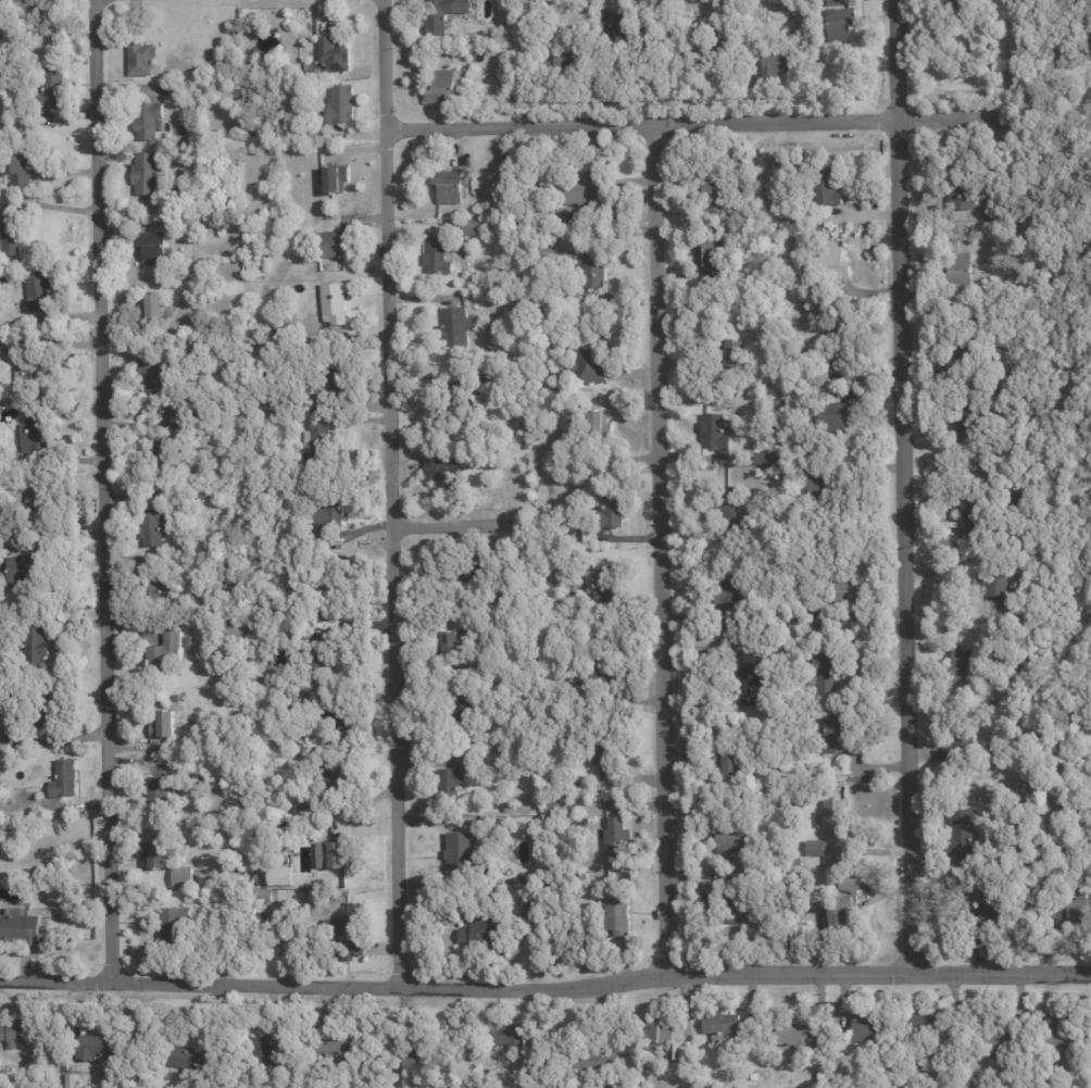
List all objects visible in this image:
building: (961, 1)
building: (838, 2)
building: (962, 2)
building: (443, 15)
building: (841, 24)
building: (624, 25)
building: (509, 33)
building: (485, 40)
building: (712, 47)
building: (335, 54)
building: (140, 60)
building: (568, 67)
building: (777, 68)
building: (444, 82)
building: (235, 85)
building: (52, 93)
building: (342, 103)
road: (692, 120)
building: (149, 122)
building: (263, 141)
building: (255, 155)
building: (18, 170)
building: (146, 175)
building: (337, 178)
building: (961, 180)
building: (830, 185)
building: (450, 186)
building: (584, 188)
building: (715, 188)
building: (960, 195)
building: (977, 197)
building: (505, 199)
building: (985, 215)
building: (627, 217)
building: (791, 221)
building: (222, 225)
building: (473, 226)
building: (499, 228)
building: (5, 234)
building: (337, 245)
building: (156, 251)
building: (439, 254)
building: (712, 258)
building: (836, 259)
building: (595, 267)
building: (962, 268)
building: (818, 290)
building: (38, 293)
building: (515, 299)
building: (334, 303)
building: (150, 308)
building: (455, 326)
building: (294, 338)
building: (839, 348)
building: (736, 350)
building: (971, 354)
building: (589, 365)
building: (28, 374)
building: (337, 375)
building: (500, 375)
building: (152, 376)
building: (463, 388)
building: (503, 396)
building: (712, 397)
building: (1001, 397)
building: (308, 401)
building: (160, 411)
building: (836, 416)
building: (966, 421)
building: (600, 424)
building: (30, 433)
building: (715, 433)
building: (318, 443)
building: (526, 445)
building: (162, 451)
building: (765, 457)
building: (442, 468)
building: (787, 471)
road: (902, 484)
road: (101, 489)
building: (819, 489)
road: (391, 491)
building: (200, 498)
building: (43, 499)
building: (331, 508)
building: (733, 509)
building: (613, 510)
building: (974, 511)
road: (460, 520)
building: (151, 527)
building: (322, 533)
building: (588, 536)
building: (1033, 539)
building: (816, 540)
road: (660, 545)
building: (184, 546)
building: (597, 553)
building: (586, 559)
building: (474, 573)
building: (20, 574)
building: (457, 574)
building: (598, 576)
building: (153, 584)
building: (732, 588)
building: (996, 588)
building: (510, 589)
building: (851, 592)
building: (802, 620)
building: (816, 620)
building: (234, 635)
building: (319, 636)
building: (259, 641)
building: (188, 642)
building: (448, 646)
building: (35, 648)
building: (164, 653)
building: (319, 655)
building: (965, 666)
building: (826, 670)
building: (599, 672)
building: (747, 674)
building: (258, 679)
building: (260, 692)
building: (174, 701)
building: (461, 703)
building: (51, 710)
building: (342, 720)
building: (163, 726)
building: (841, 739)
building: (964, 753)
building: (480, 754)
building: (606, 755)
building: (730, 762)
building: (330, 774)
building: (1028, 776)
building: (450, 778)
building: (61, 788)
building: (311, 788)
building: (155, 792)
building: (783, 801)
building: (1025, 802)
building: (732, 803)
building: (557, 806)
building: (304, 809)
building: (835, 818)
building: (965, 833)
building: (618, 838)
building: (730, 842)
building: (817, 849)
building: (462, 851)
building: (328, 853)
building: (341, 853)
building: (152, 859)
building: (989, 859)
building: (798, 861)
building: (281, 877)
building: (799, 877)
building: (851, 881)
building: (184, 885)
building: (264, 892)
building: (264, 901)
building: (535, 908)
building: (742, 910)
building: (1074, 912)
building: (838, 914)
building: (993, 915)
building: (619, 921)
building: (175, 925)
building: (343, 926)
building: (18, 929)
building: (482, 931)
building: (359, 943)
road: (545, 984)
building: (927, 1020)
building: (722, 1024)
building: (868, 1026)
building: (1066, 1030)
building: (657, 1031)
building: (16, 1034)
building: (507, 1035)
building: (798, 1035)
building: (1002, 1038)
building: (336, 1040)
building: (267, 1047)
building: (681, 1050)
building: (95, 1051)
building: (178, 1059)
building: (412, 1060)
building: (595, 1062)
building: (71, 1080)

